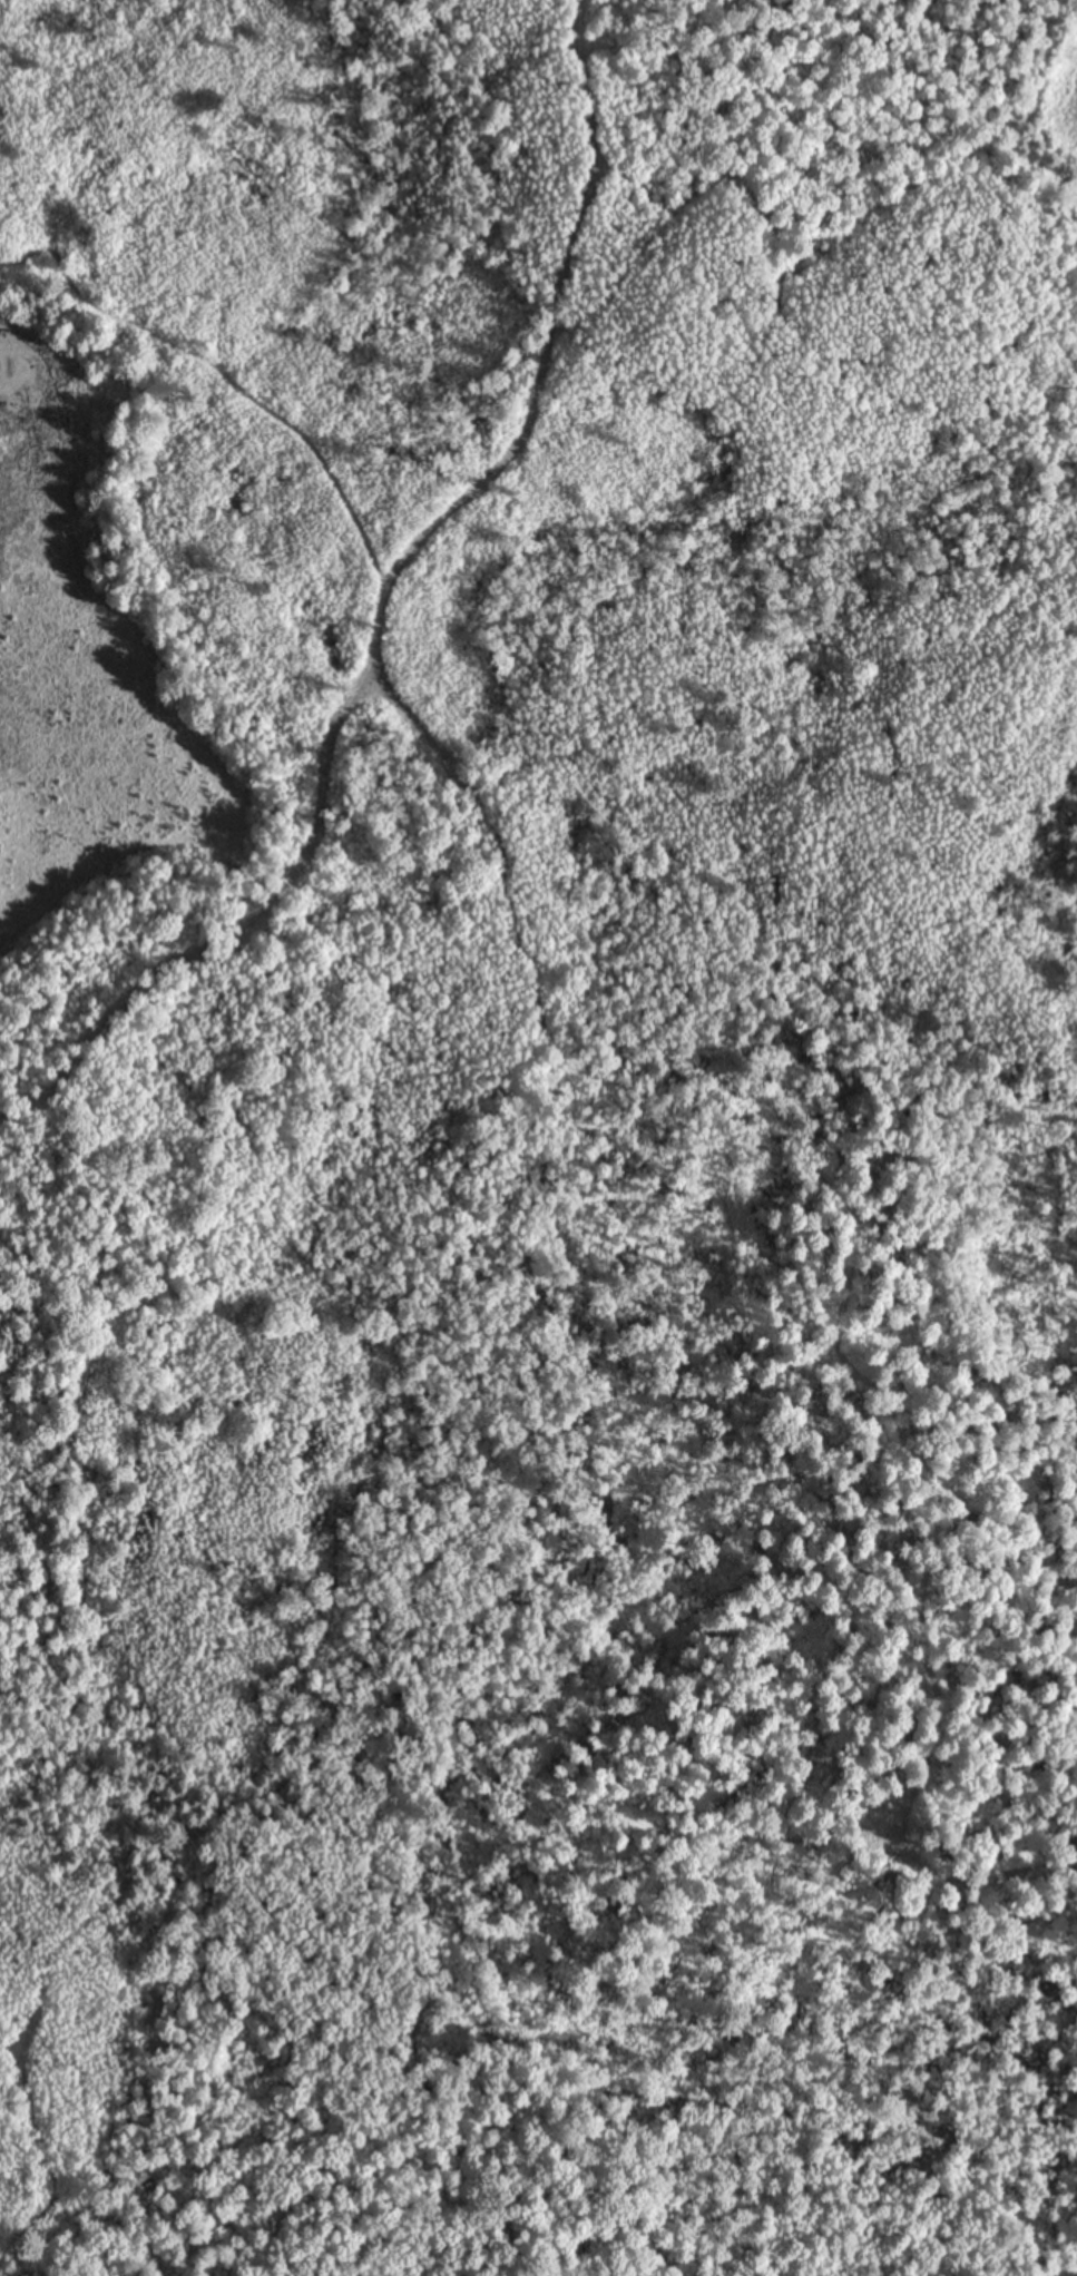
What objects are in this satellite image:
road: (375, 2174)

